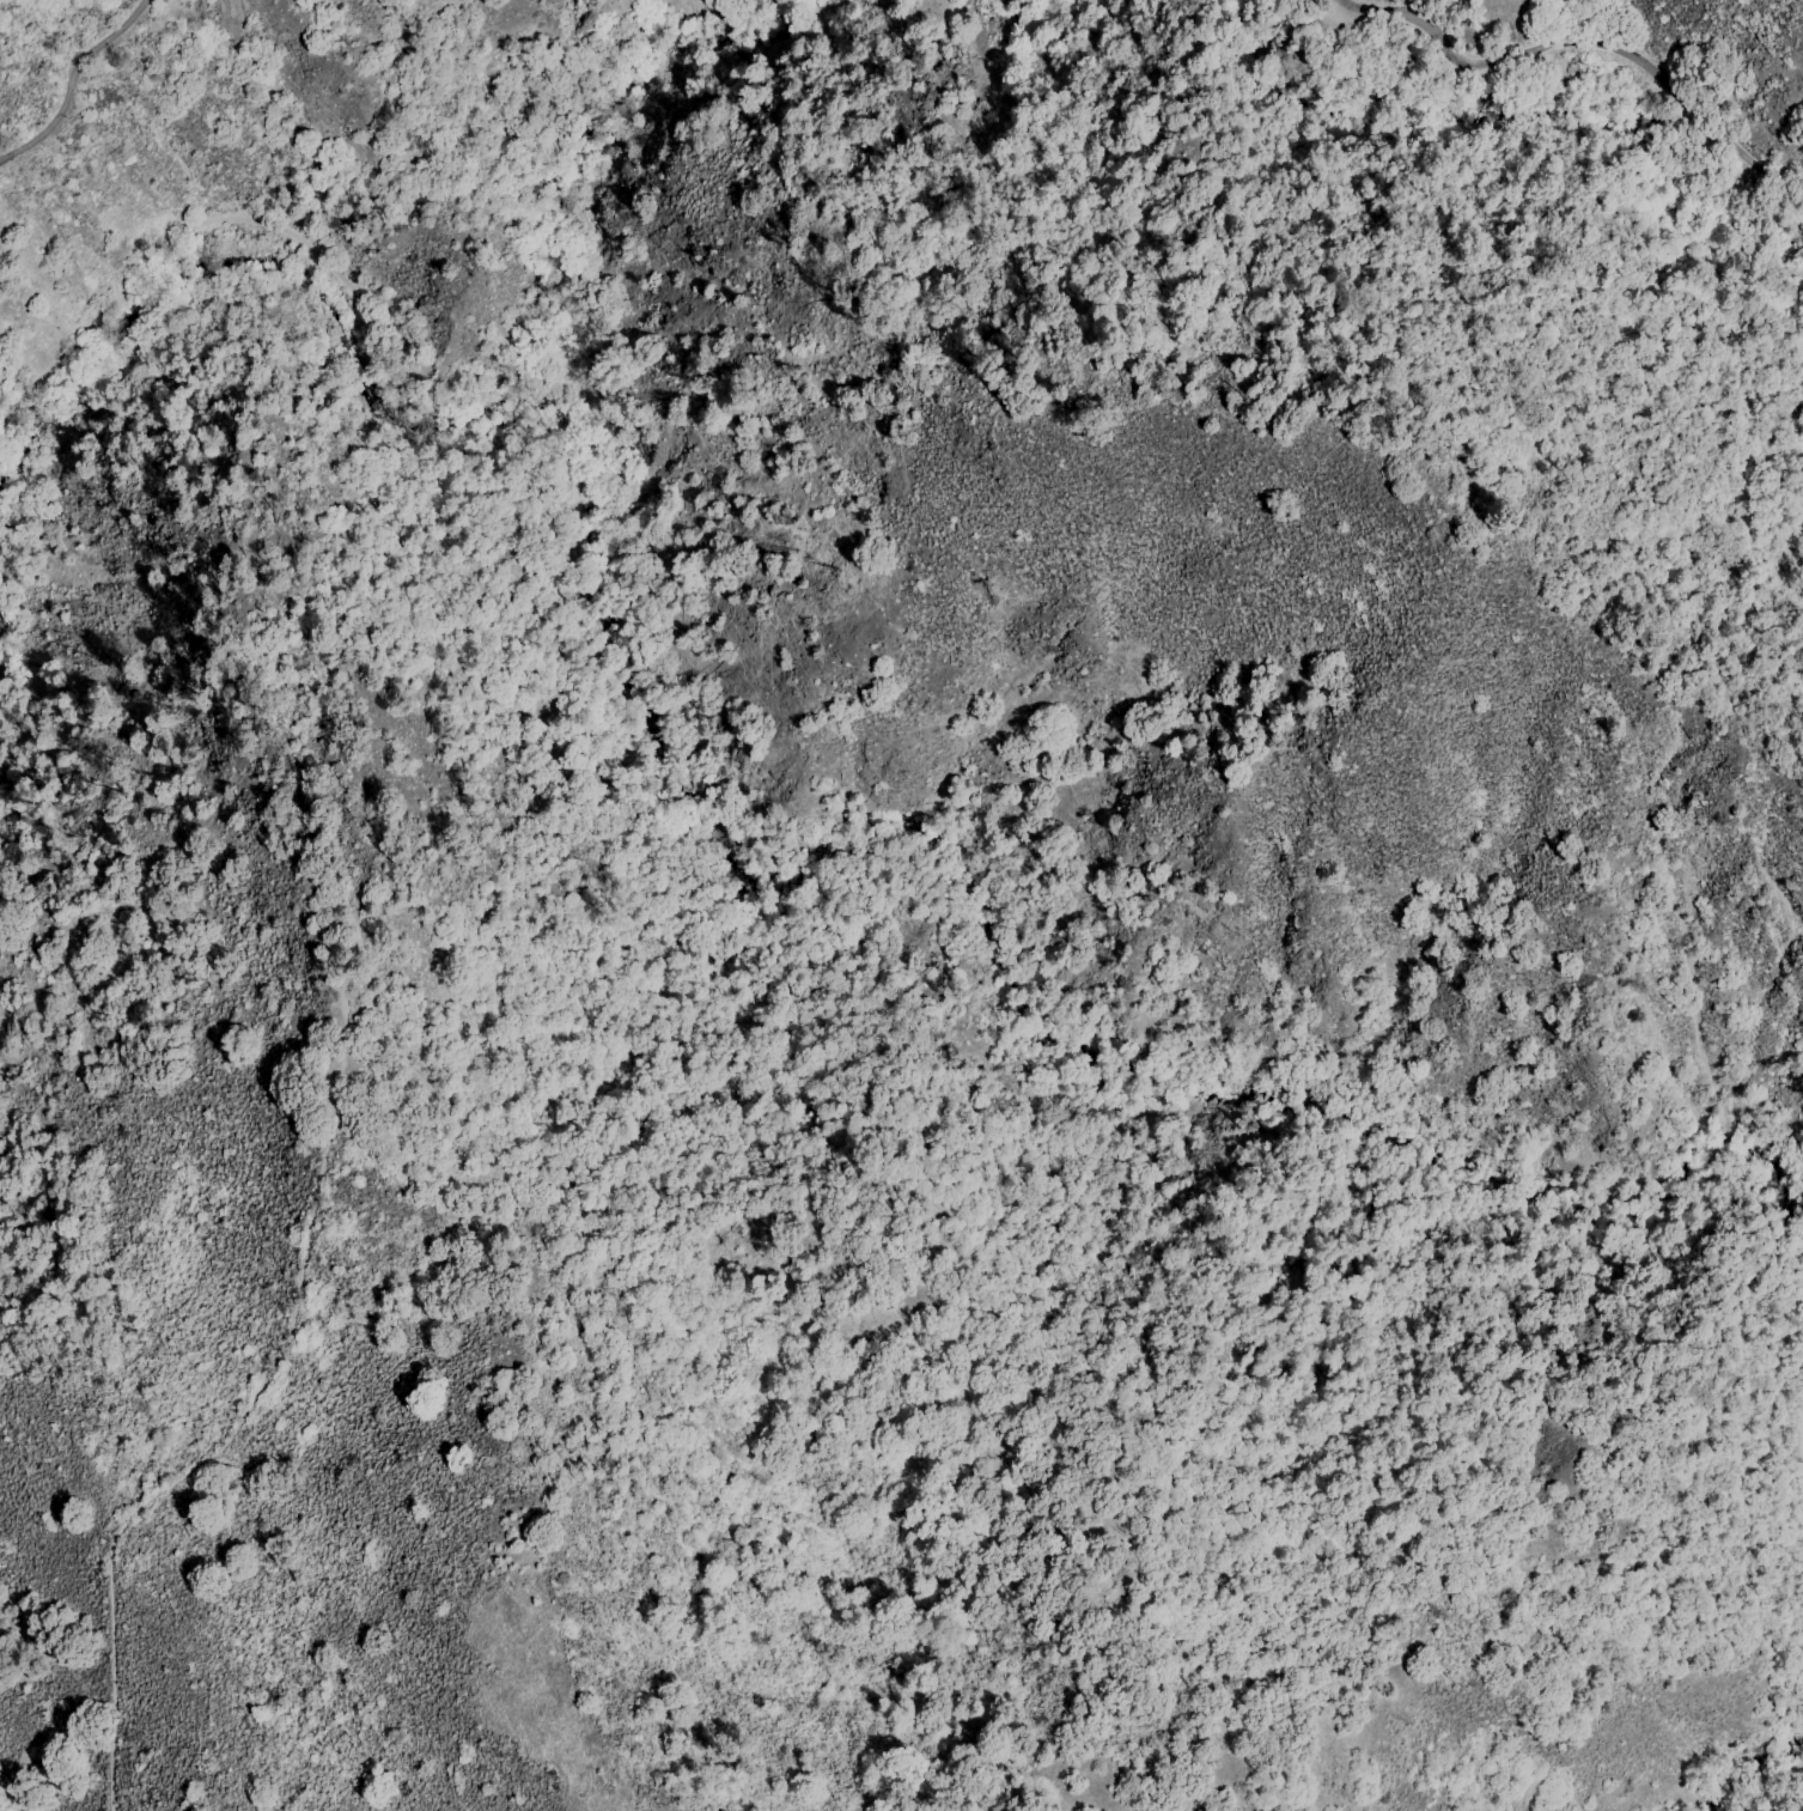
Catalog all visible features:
road: (1586, 47)
road: (75, 80)
road: (200, 221)
road: (402, 389)
park: (952, 796)
road: (303, 863)
road: (373, 999)
road: (663, 1056)
road: (636, 1210)
road: (867, 1288)
road: (234, 1427)

